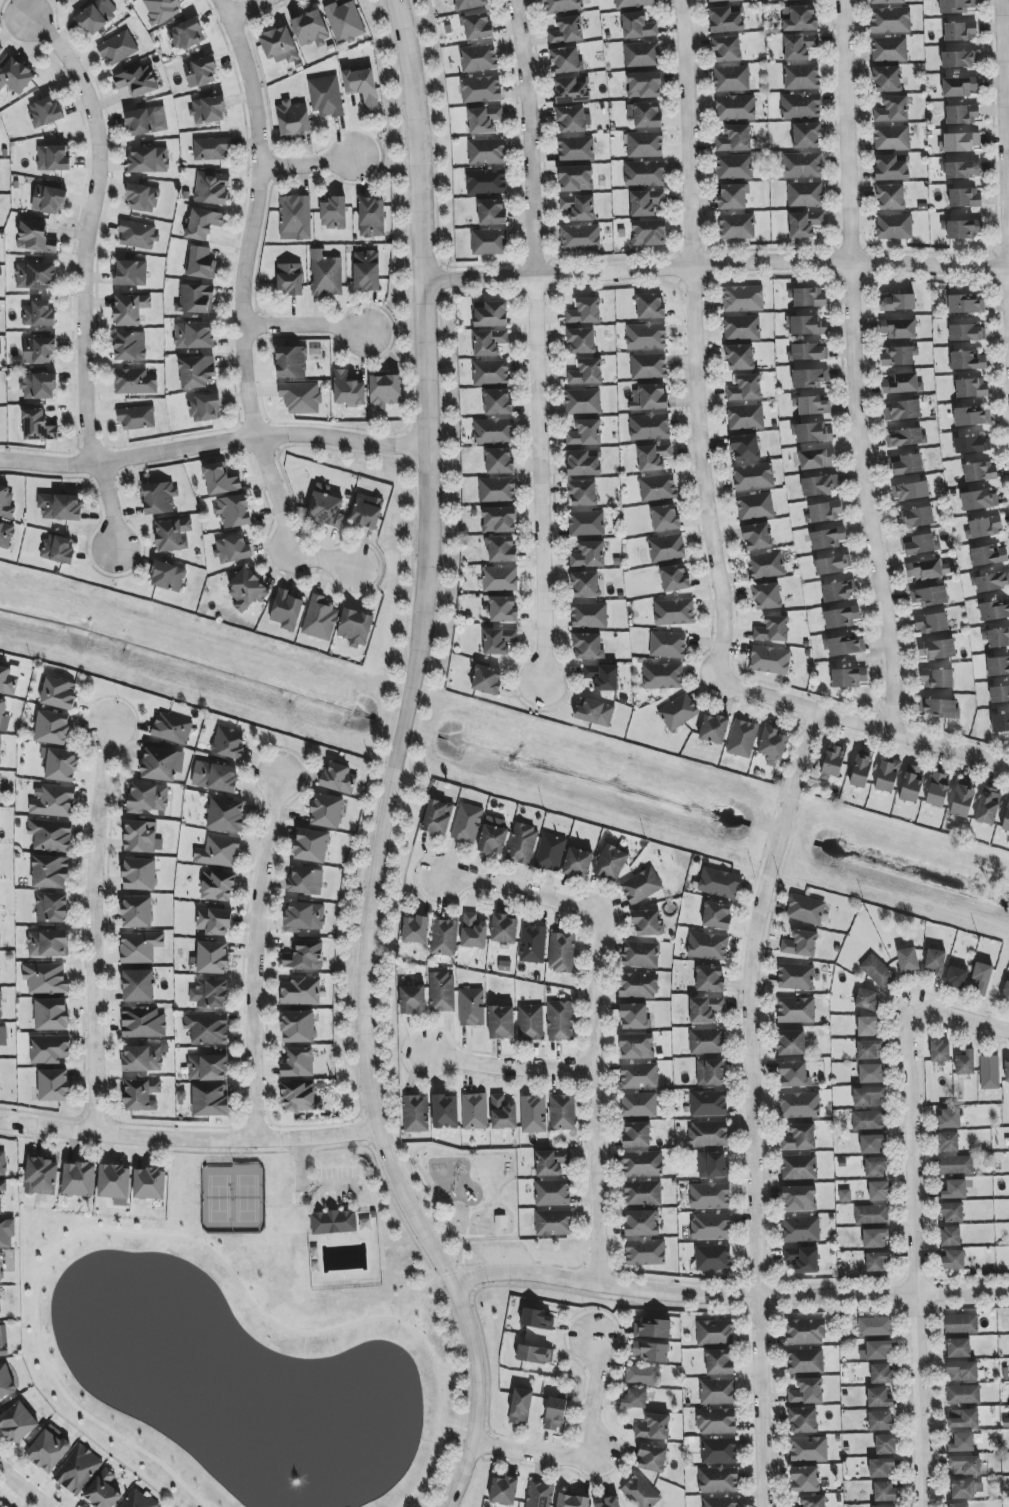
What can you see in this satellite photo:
building: (77, 0)
building: (723, 0)
building: (784, 0)
building: (886, 1)
building: (633, 3)
building: (469, 4)
road: (241, 6)
building: (562, 6)
building: (956, 6)
building: (161, 10)
building: (95, 17)
building: (799, 18)
building: (726, 19)
building: (890, 20)
building: (345, 22)
building: (638, 26)
building: (478, 27)
building: (310, 29)
building: (566, 30)
building: (960, 31)
building: (186, 35)
building: (280, 46)
building: (799, 46)
building: (0, 48)
building: (117, 48)
building: (726, 49)
building: (889, 49)
building: (642, 54)
building: (479, 58)
building: (959, 59)
building: (567, 60)
building: (201, 72)
building: (15, 76)
building: (801, 77)
building: (731, 78)
building: (887, 79)
building: (138, 80)
building: (644, 85)
building: (361, 86)
building: (959, 86)
building: (481, 89)
building: (571, 89)
building: (326, 97)
building: (801, 106)
building: (735, 108)
building: (892, 109)
building: (209, 110)
building: (45, 112)
building: (645, 114)
building: (962, 115)
building: (293, 119)
building: (572, 119)
building: (483, 120)
building: (147, 121)
building: (806, 135)
building: (892, 137)
building: (735, 139)
building: (959, 142)
building: (644, 144)
building: (576, 148)
building: (211, 149)
road: (1004, 149)
building: (486, 152)
building: (54, 158)
building: (149, 160)
building: (802, 165)
road: (306, 166)
building: (734, 166)
building: (892, 167)
building: (961, 169)
building: (644, 173)
building: (575, 178)
building: (485, 182)
building: (212, 188)
building: (805, 194)
building: (733, 197)
building: (890, 197)
building: (964, 197)
building: (142, 198)
building: (48, 200)
building: (646, 202)
building: (578, 207)
building: (491, 212)
building: (334, 213)
building: (372, 217)
building: (295, 218)
building: (203, 223)
building: (805, 224)
building: (736, 226)
building: (894, 226)
building: (962, 228)
building: (648, 233)
building: (137, 235)
building: (36, 238)
building: (580, 238)
building: (489, 242)
building: (201, 263)
road: (714, 265)
building: (367, 271)
road: (80, 273)
building: (131, 273)
building: (35, 276)
building: (327, 276)
building: (291, 279)
building: (807, 297)
building: (743, 298)
building: (196, 299)
building: (897, 302)
building: (964, 304)
road: (241, 306)
building: (650, 306)
building: (130, 310)
building: (585, 311)
building: (38, 314)
building: (491, 315)
road: (303, 325)
building: (806, 325)
building: (742, 327)
building: (898, 328)
building: (967, 332)
building: (194, 335)
building: (646, 336)
road: (536, 339)
road: (693, 339)
building: (581, 341)
building: (489, 342)
building: (131, 346)
building: (1, 348)
building: (39, 351)
building: (808, 352)
building: (899, 355)
building: (740, 357)
building: (967, 360)
building: (291, 362)
building: (648, 366)
road: (854, 367)
building: (197, 372)
building: (490, 372)
building: (586, 372)
building: (809, 378)
building: (135, 382)
building: (902, 383)
building: (39, 386)
building: (745, 388)
building: (971, 388)
building: (348, 390)
building: (384, 391)
building: (649, 397)
building: (301, 398)
building: (583, 401)
building: (497, 402)
building: (811, 405)
building: (205, 408)
building: (903, 410)
building: (972, 416)
building: (745, 417)
building: (136, 418)
building: (38, 426)
building: (649, 427)
building: (494, 431)
building: (812, 432)
building: (585, 433)
building: (905, 438)
road: (213, 442)
building: (972, 444)
building: (745, 447)
building: (653, 457)
building: (817, 458)
building: (499, 461)
building: (584, 463)
building: (908, 465)
building: (980, 472)
building: (753, 476)
building: (220, 479)
building: (820, 485)
building: (657, 488)
building: (497, 490)
building: (911, 491)
building: (582, 493)
building: (159, 498)
building: (979, 500)
building: (6, 502)
building: (755, 506)
building: (60, 507)
building: (326, 509)
building: (233, 511)
building: (366, 511)
building: (824, 512)
building: (917, 517)
building: (664, 518)
building: (498, 520)
building: (586, 523)
building: (983, 528)
building: (6, 535)
building: (172, 535)
building: (756, 536)
building: (827, 538)
building: (922, 544)
building: (666, 548)
building: (58, 549)
building: (232, 549)
building: (502, 549)
building: (588, 555)
building: (988, 555)
building: (833, 564)
building: (766, 565)
building: (949, 568)
building: (924, 569)
building: (168, 577)
building: (499, 578)
building: (675, 578)
building: (990, 581)
building: (585, 584)
building: (246, 590)
building: (839, 590)
building: (929, 595)
building: (767, 596)
building: (503, 609)
building: (286, 610)
building: (994, 610)
building: (674, 612)
building: (589, 615)
building: (841, 617)
building: (319, 618)
building: (931, 623)
building: (355, 627)
building: (772, 629)
building: (996, 637)
building: (498, 641)
building: (667, 644)
building: (588, 646)
building: (845, 646)
building: (937, 649)
building: (770, 660)
building: (998, 666)
building: (662, 676)
building: (602, 677)
building: (849, 677)
building: (937, 678)
building: (486, 680)
building: (7, 681)
building: (59, 693)
building: (999, 694)
building: (940, 708)
building: (2, 709)
building: (678, 712)
building: (594, 713)
building: (1000, 722)
road: (861, 726)
building: (52, 728)
building: (172, 729)
building: (714, 729)
building: (742, 738)
building: (228, 743)
building: (772, 746)
building: (0, 750)
building: (833, 762)
building: (162, 764)
building: (61, 765)
road: (391, 767)
building: (861, 769)
building: (887, 775)
building: (215, 777)
building: (339, 779)
building: (912, 783)
building: (0, 786)
building: (938, 789)
building: (147, 798)
building: (52, 801)
building: (962, 801)
building: (988, 806)
building: (327, 811)
building: (226, 815)
building: (438, 817)
building: (1006, 818)
building: (466, 823)
building: (51, 835)
building: (140, 836)
building: (492, 840)
building: (522, 844)
building: (311, 846)
building: (219, 851)
building: (550, 852)
building: (577, 863)
building: (611, 863)
building: (50, 872)
building: (139, 874)
building: (306, 881)
building: (719, 883)
building: (218, 886)
building: (641, 886)
building: (52, 908)
building: (806, 909)
building: (137, 912)
building: (717, 915)
building: (304, 916)
building: (215, 921)
building: (647, 923)
road: (91, 928)
building: (504, 929)
building: (415, 930)
building: (473, 932)
building: (444, 938)
building: (0, 941)
building: (800, 943)
building: (48, 944)
building: (533, 944)
building: (707, 946)
building: (140, 947)
building: (561, 953)
building: (640, 954)
road: (252, 956)
building: (305, 956)
building: (213, 958)
building: (908, 960)
building: (936, 961)
building: (877, 971)
building: (795, 977)
building: (956, 978)
building: (980, 978)
building: (45, 979)
building: (710, 979)
building: (638, 985)
building: (139, 986)
building: (301, 991)
building: (442, 992)
building: (1006, 993)
building: (212, 994)
building: (412, 999)
building: (866, 999)
building: (1, 1006)
building: (471, 1007)
building: (705, 1009)
building: (796, 1010)
building: (51, 1014)
building: (634, 1016)
road: (964, 1017)
building: (560, 1021)
building: (143, 1022)
building: (501, 1022)
building: (530, 1022)
road: (593, 1022)
building: (868, 1026)
building: (298, 1027)
building: (207, 1029)
building: (3, 1036)
building: (706, 1041)
building: (791, 1043)
building: (637, 1046)
building: (49, 1049)
building: (869, 1050)
building: (940, 1051)
building: (143, 1059)
building: (299, 1063)
building: (965, 1063)
building: (208, 1068)
road: (509, 1068)
building: (1007, 1071)
building: (710, 1072)
building: (989, 1072)
building: (871, 1073)
building: (794, 1074)
building: (639, 1076)
building: (53, 1085)
building: (141, 1095)
building: (299, 1096)
building: (869, 1097)
building: (210, 1100)
building: (708, 1103)
building: (639, 1104)
road: (748, 1105)
building: (800, 1105)
building: (445, 1111)
building: (474, 1111)
building: (562, 1112)
building: (416, 1113)
building: (503, 1113)
building: (533, 1114)
building: (949, 1118)
building: (868, 1120)
building: (636, 1134)
building: (708, 1134)
road: (188, 1138)
building: (799, 1138)
road: (373, 1141)
building: (948, 1142)
building: (873, 1144)
road: (301, 1161)
building: (551, 1162)
building: (3, 1164)
building: (642, 1164)
building: (712, 1165)
building: (956, 1165)
building: (799, 1167)
building: (876, 1167)
building: (41, 1176)
building: (78, 1179)
building: (114, 1182)
building: (149, 1184)
road: (333, 1184)
parking lot: (331, 1188)
building: (955, 1189)
building: (878, 1191)
building: (552, 1193)
building: (642, 1193)
road: (333, 1194)
building: (709, 1196)
building: (799, 1198)
building: (0, 1202)
road: (312, 1204)
building: (952, 1212)
building: (871, 1214)
building: (334, 1222)
building: (553, 1223)
building: (642, 1223)
building: (710, 1226)
building: (801, 1229)
road: (408, 1232)
building: (950, 1236)
road: (184, 1238)
building: (875, 1238)
building: (645, 1252)
road: (912, 1253)
building: (713, 1258)
building: (802, 1259)
building: (953, 1259)
building: (877, 1262)
building: (1, 1268)
road: (419, 1295)
road: (728, 1295)
building: (0, 1316)
building: (536, 1319)
building: (961, 1324)
building: (874, 1326)
building: (652, 1329)
building: (715, 1332)
building: (805, 1332)
building: (3, 1342)
building: (958, 1348)
building: (651, 1351)
building: (876, 1351)
building: (535, 1354)
building: (805, 1361)
building: (719, 1362)
building: (962, 1371)
building: (881, 1374)
building: (642, 1375)
building: (6, 1382)
building: (807, 1391)
building: (717, 1392)
building: (963, 1394)
building: (635, 1398)
building: (879, 1398)
building: (520, 1406)
building: (555, 1414)
building: (963, 1418)
building: (803, 1420)
building: (716, 1421)
building: (880, 1421)
building: (17, 1423)
building: (653, 1427)
road: (457, 1428)
fountain: (288, 1438)
building: (964, 1442)
building: (885, 1444)
road: (581, 1448)
building: (808, 1449)
building: (47, 1451)
building: (718, 1451)
building: (652, 1458)
building: (965, 1465)
building: (881, 1467)
building: (77, 1469)
building: (805, 1479)
building: (718, 1480)
road: (20, 1489)
building: (966, 1489)
building: (504, 1490)
building: (102, 1491)
building: (884, 1491)
building: (640, 1492)
building: (539, 1495)
building: (138, 1500)
building: (572, 1500)
building: (812, 1501)
building: (610, 1502)
building: (720, 1502)
building: (0, 1505)
building: (959, 1505)
building: (884, 1506)

